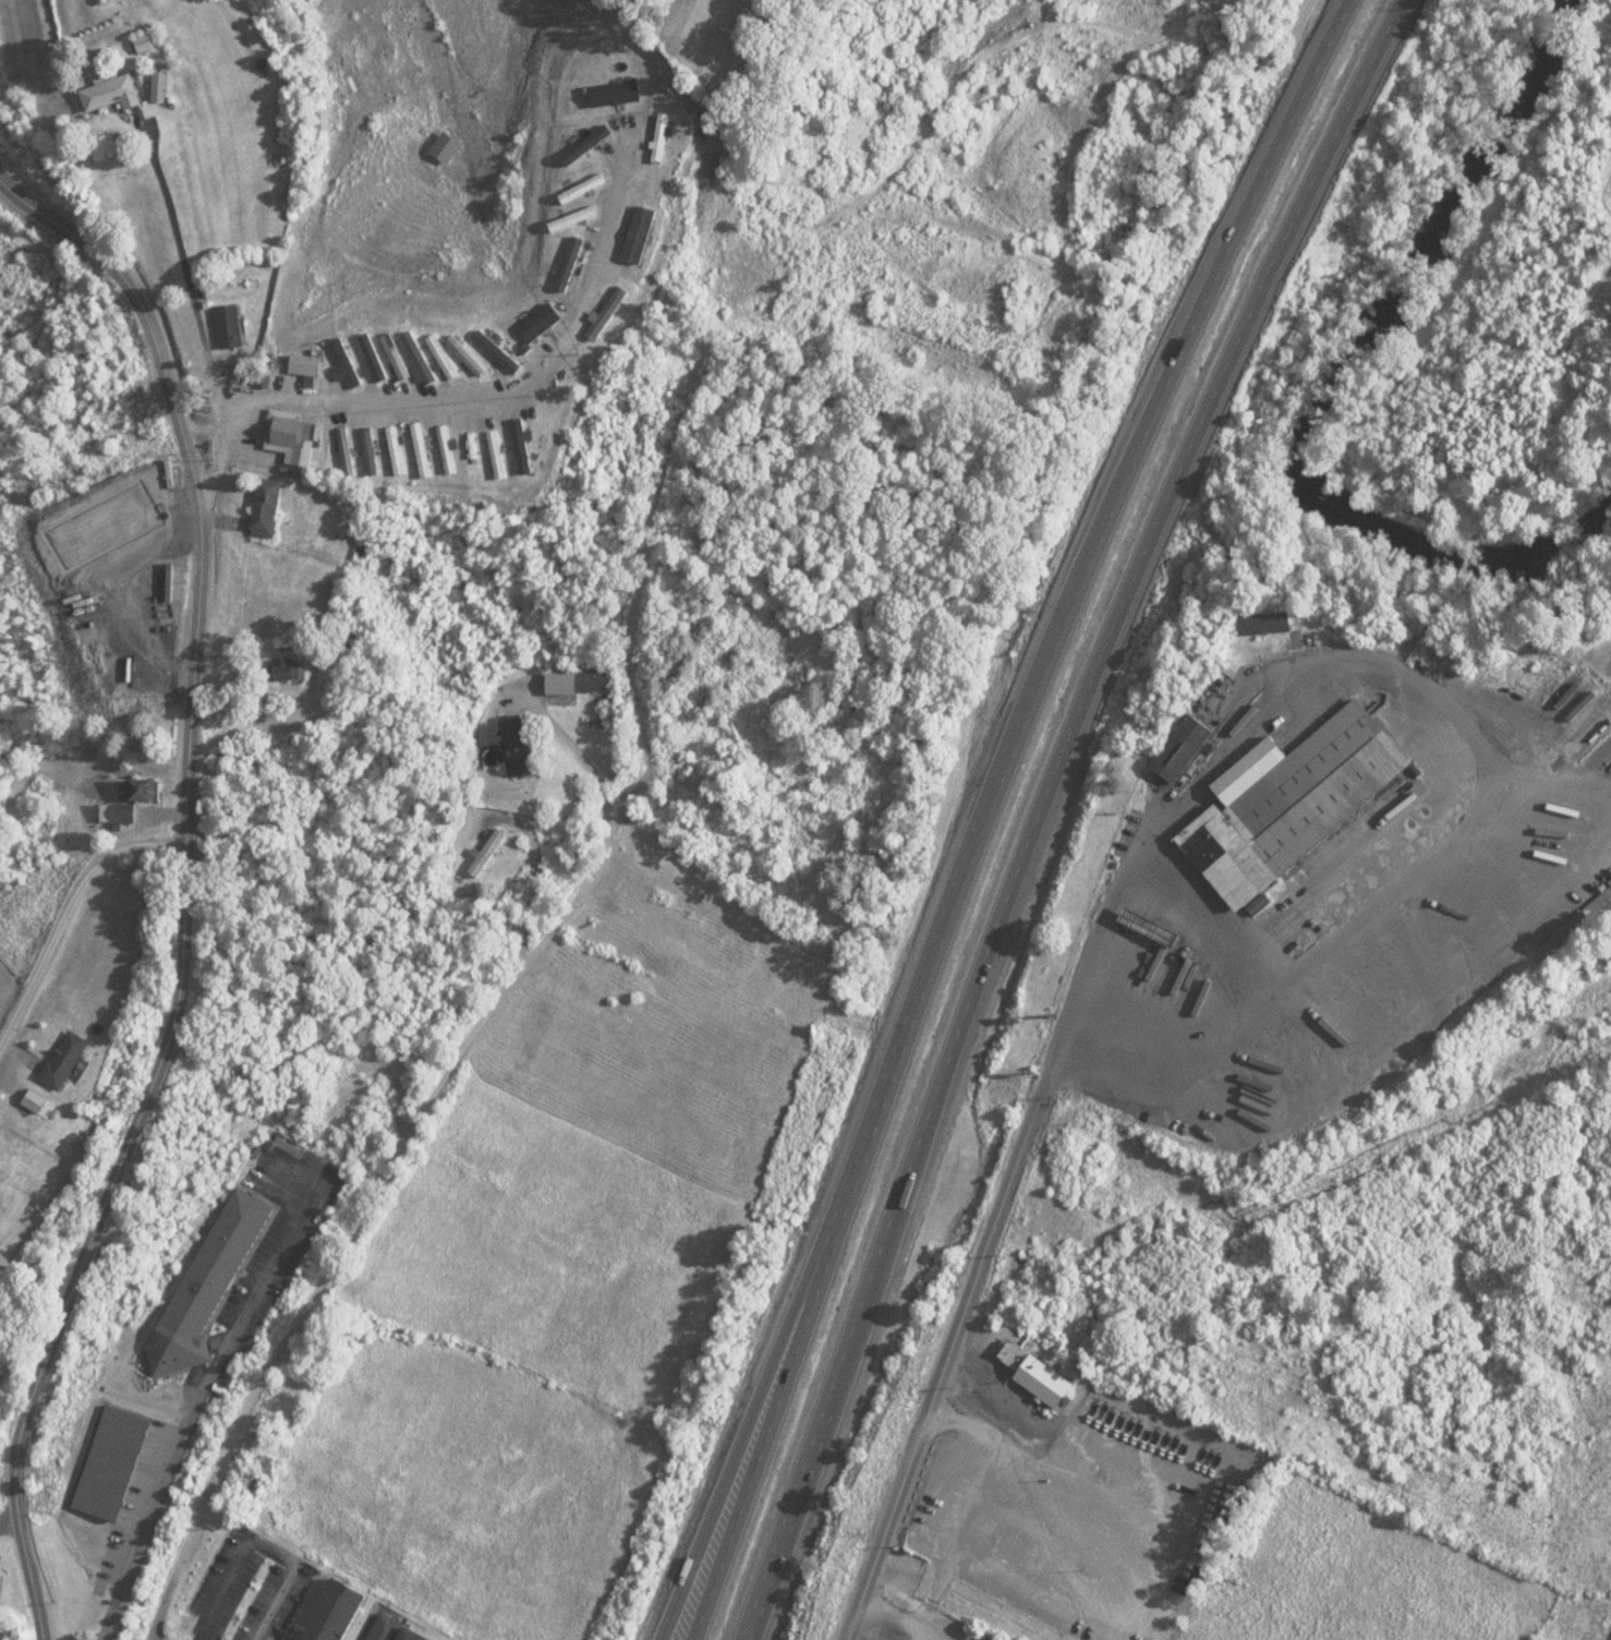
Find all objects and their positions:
building: (144, 44)
building: (614, 94)
building: (111, 95)
building: (658, 138)
building: (585, 145)
building: (445, 147)
building: (581, 189)
building: (639, 236)
building: (569, 264)
road: (186, 277)
building: (608, 313)
building: (540, 324)
building: (229, 327)
building: (496, 353)
building: (463, 357)
building: (372, 358)
building: (395, 358)
building: (440, 358)
building: (417, 359)
building: (305, 363)
building: (343, 365)
river: (1329, 370)
road: (469, 402)
building: (292, 431)
building: (471, 447)
building: (521, 448)
building: (446, 450)
building: (395, 451)
building: (420, 451)
building: (344, 453)
building: (370, 453)
building: (496, 456)
building: (266, 509)
building: (138, 550)
building: (59, 554)
building: (1263, 624)
building: (286, 670)
building: (593, 680)
building: (518, 744)
building: (1180, 745)
building: (142, 788)
road: (1035, 805)
road: (982, 806)
building: (1303, 808)
building: (117, 812)
building: (485, 852)
road: (181, 885)
road: (64, 909)
building: (1576, 921)
road: (1056, 1059)
building: (63, 1060)
road: (350, 1237)
building: (207, 1285)
road: (763, 1370)
building: (1037, 1375)
road: (189, 1416)
building: (110, 1463)
building: (1018, 1490)
building: (983, 1530)
road: (256, 1549)
parking lot: (245, 1589)
building: (332, 1612)
building: (391, 1630)

